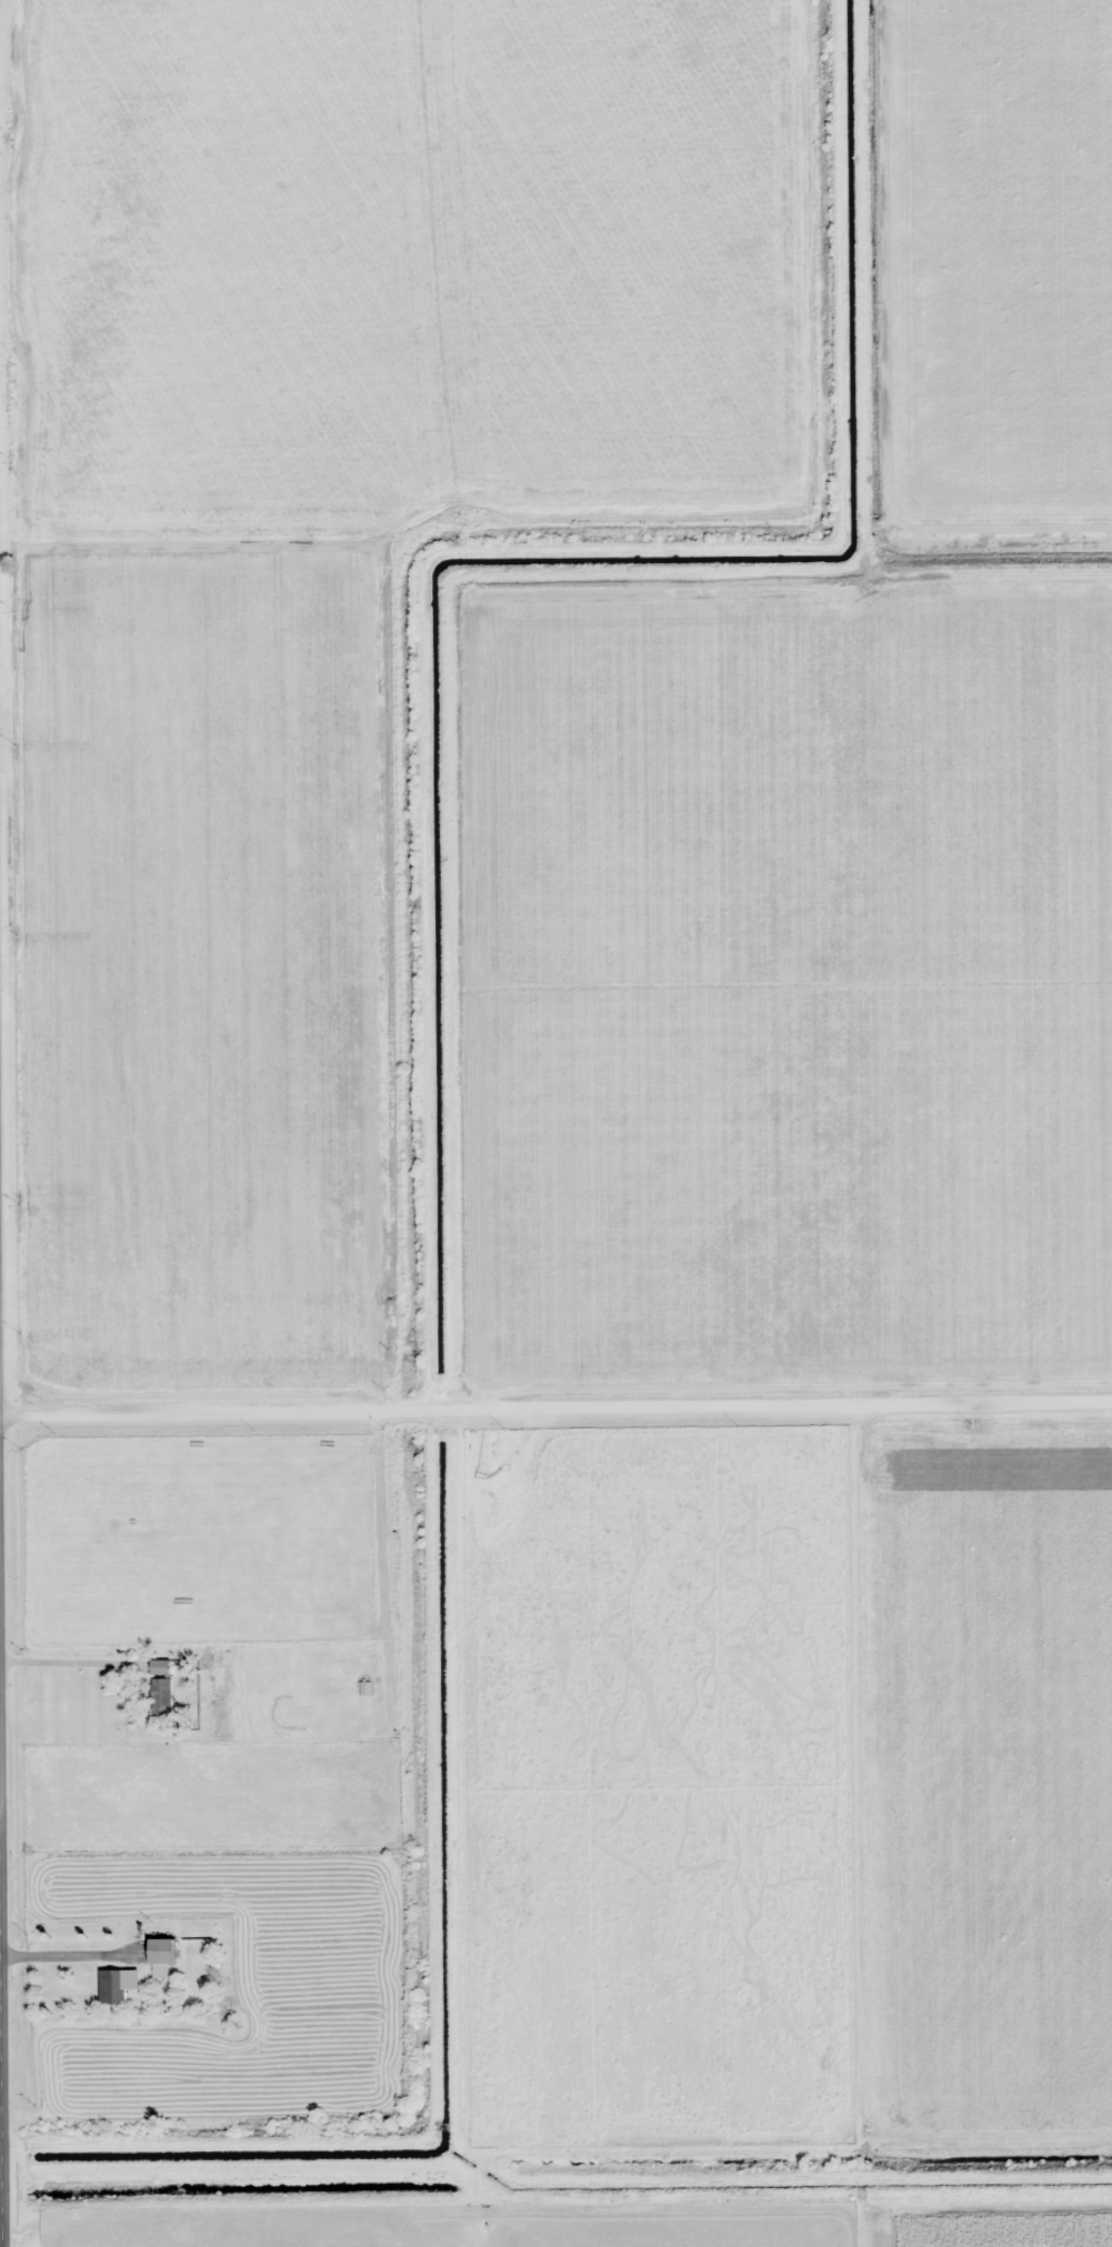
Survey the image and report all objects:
road: (555, 1411)
building: (160, 1667)
building: (161, 1697)
building: (161, 1950)
building: (111, 1986)
road: (1, 2094)

